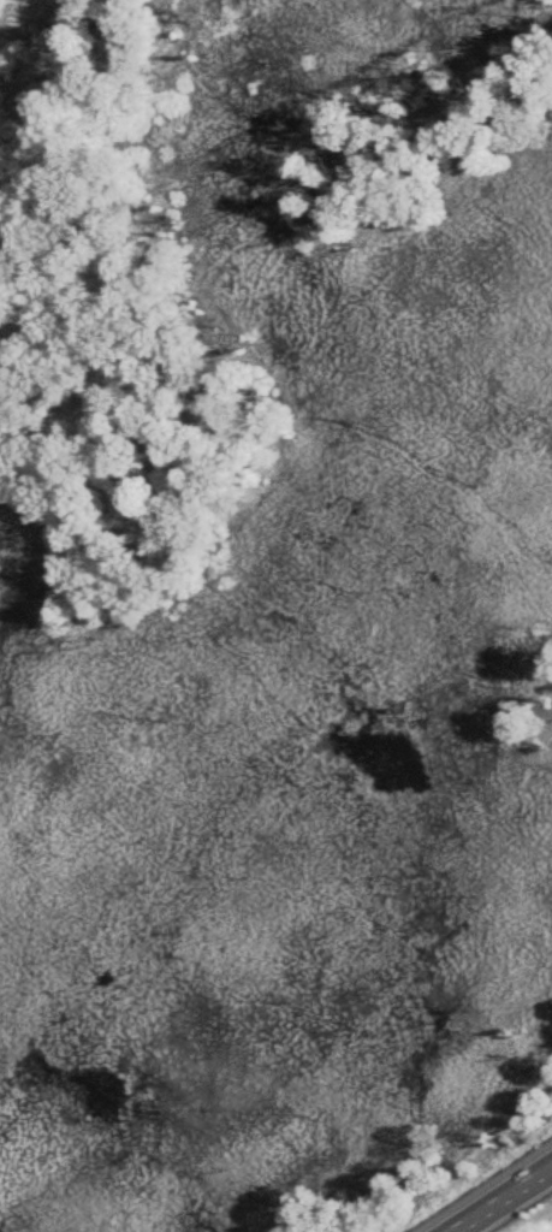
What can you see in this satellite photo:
road: (500, 1197)

